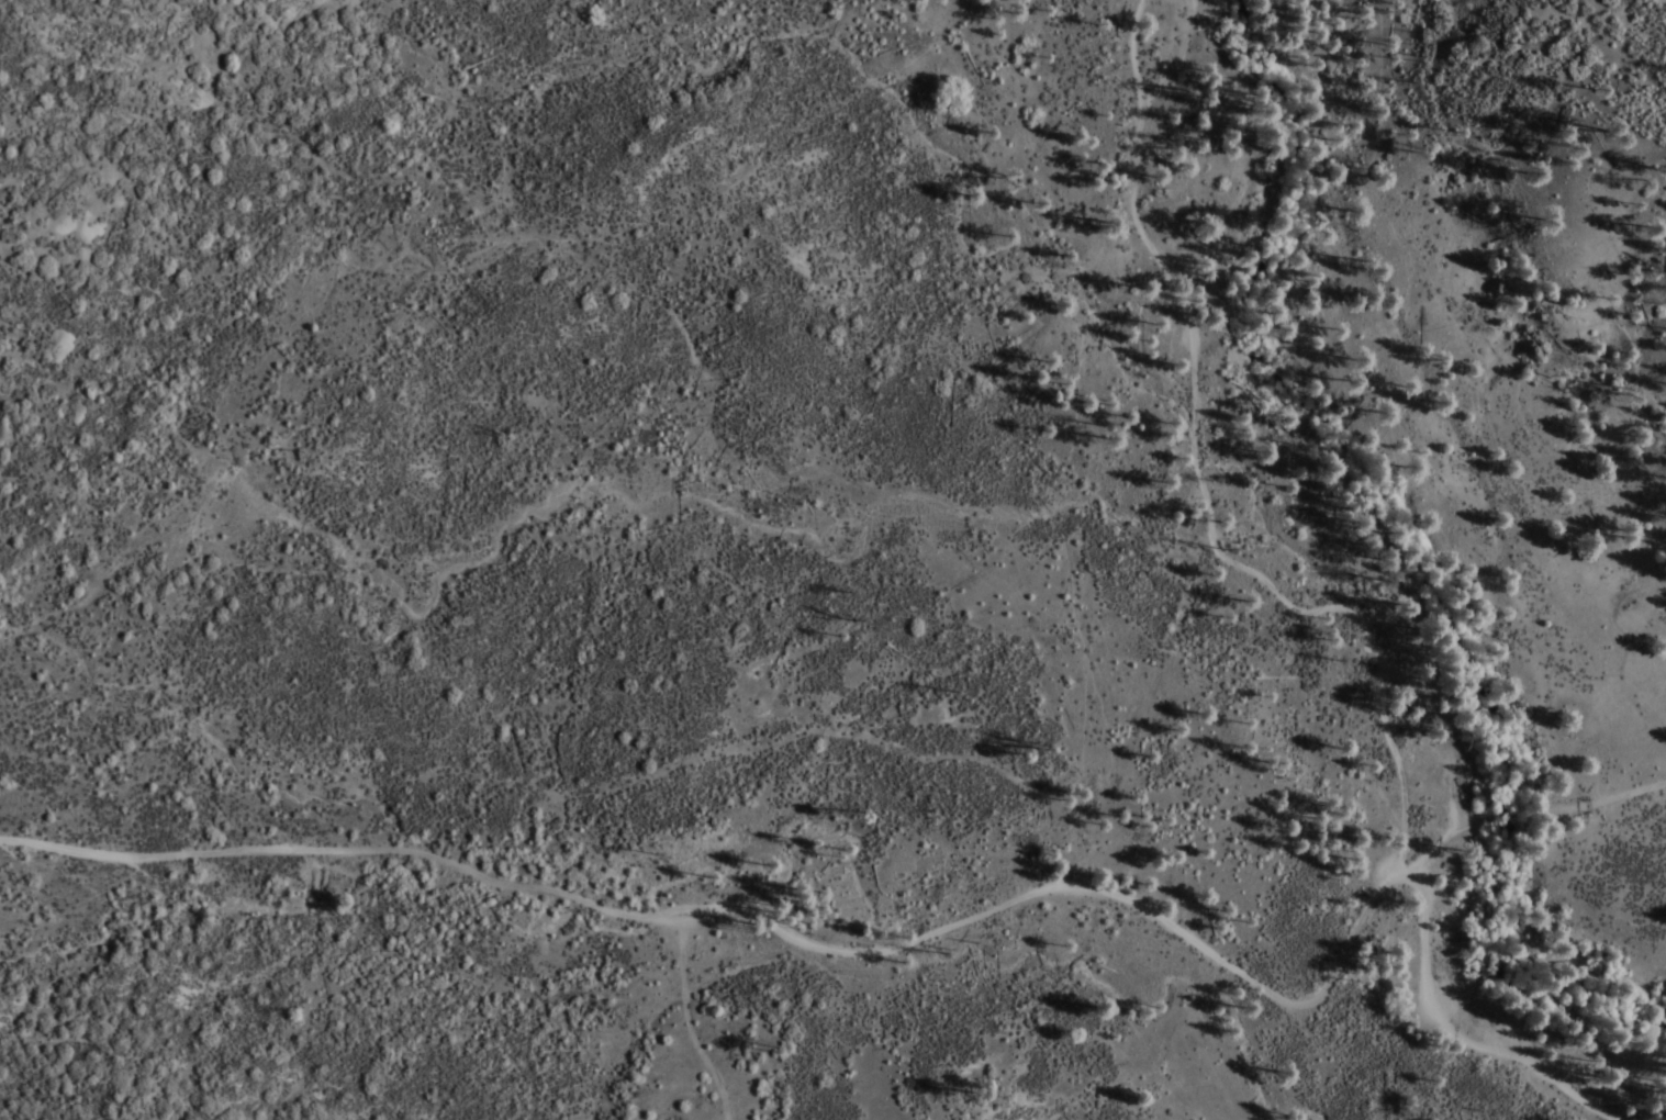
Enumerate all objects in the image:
road: (865, 939)
road: (1450, 1024)

